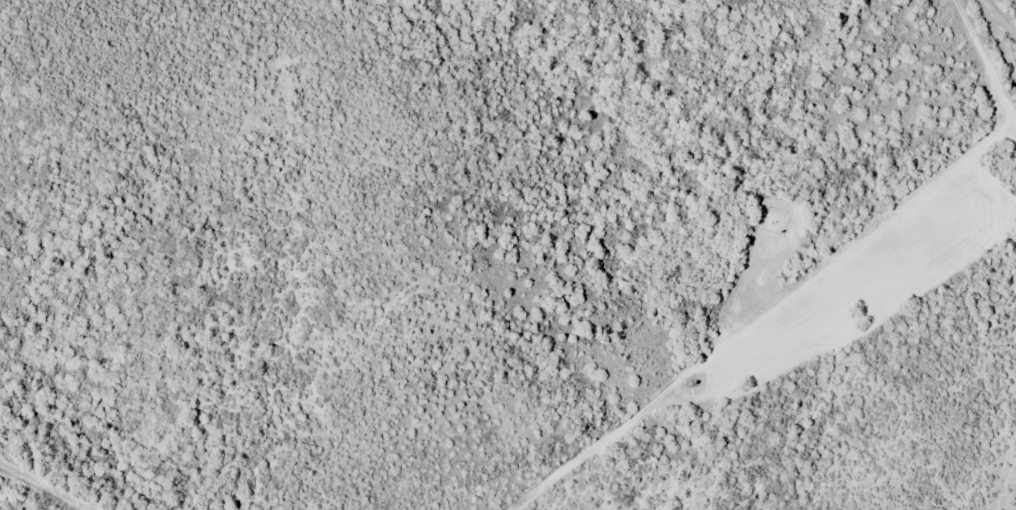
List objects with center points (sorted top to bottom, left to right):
road: (1006, 11)
road: (44, 487)

